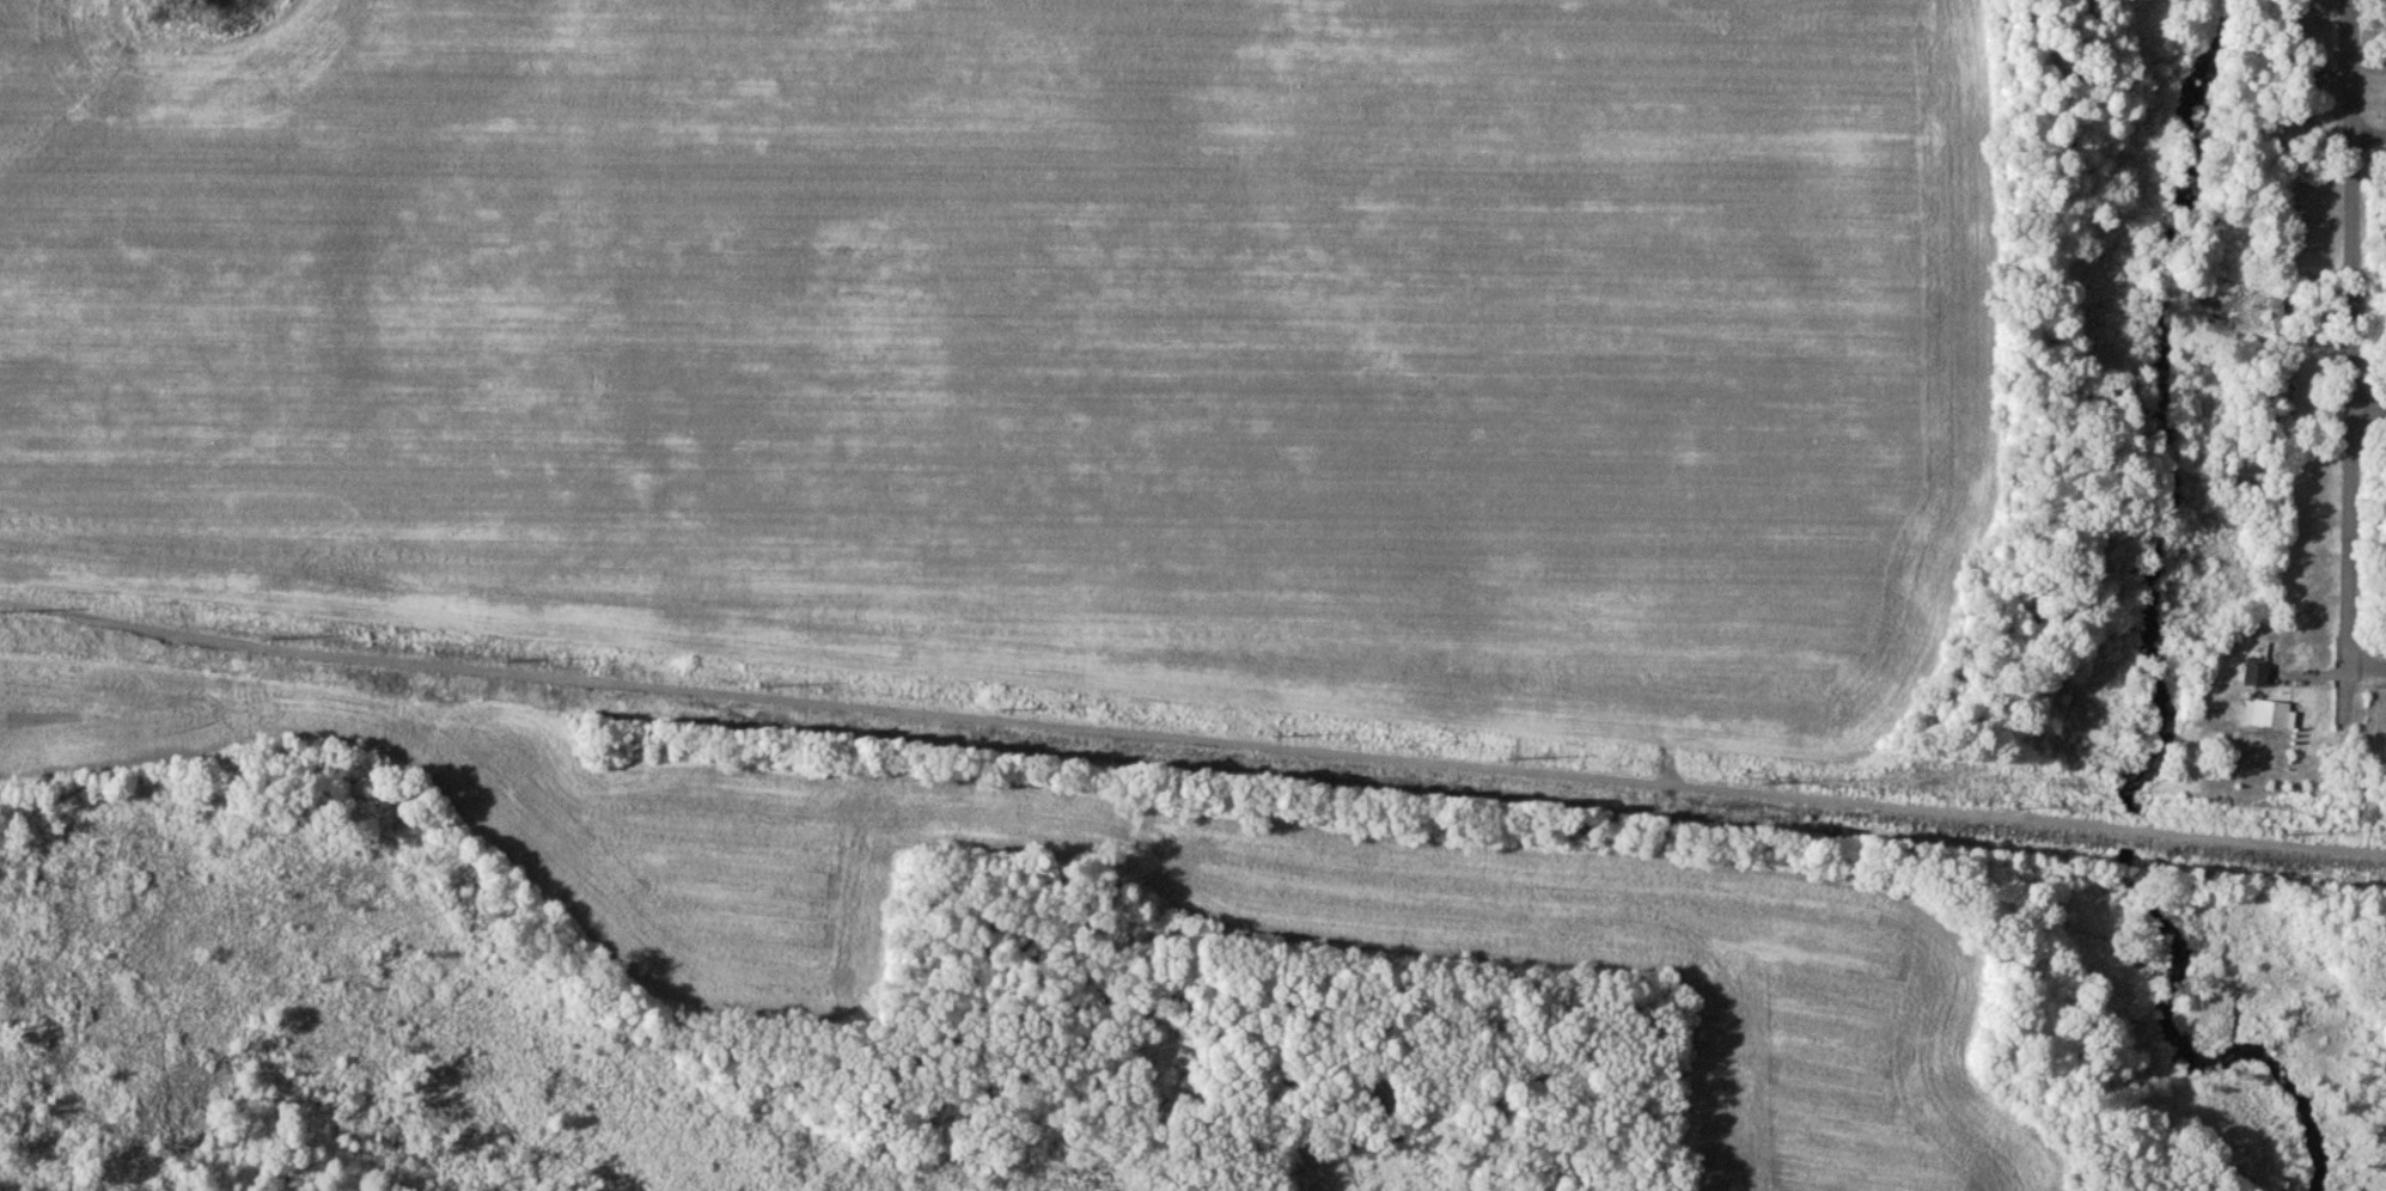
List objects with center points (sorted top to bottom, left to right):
building: (2305, 130)
road: (2368, 135)
road: (2355, 366)
building: (2278, 396)
road: (2370, 407)
road: (2367, 665)
building: (2258, 676)
building: (2272, 715)

